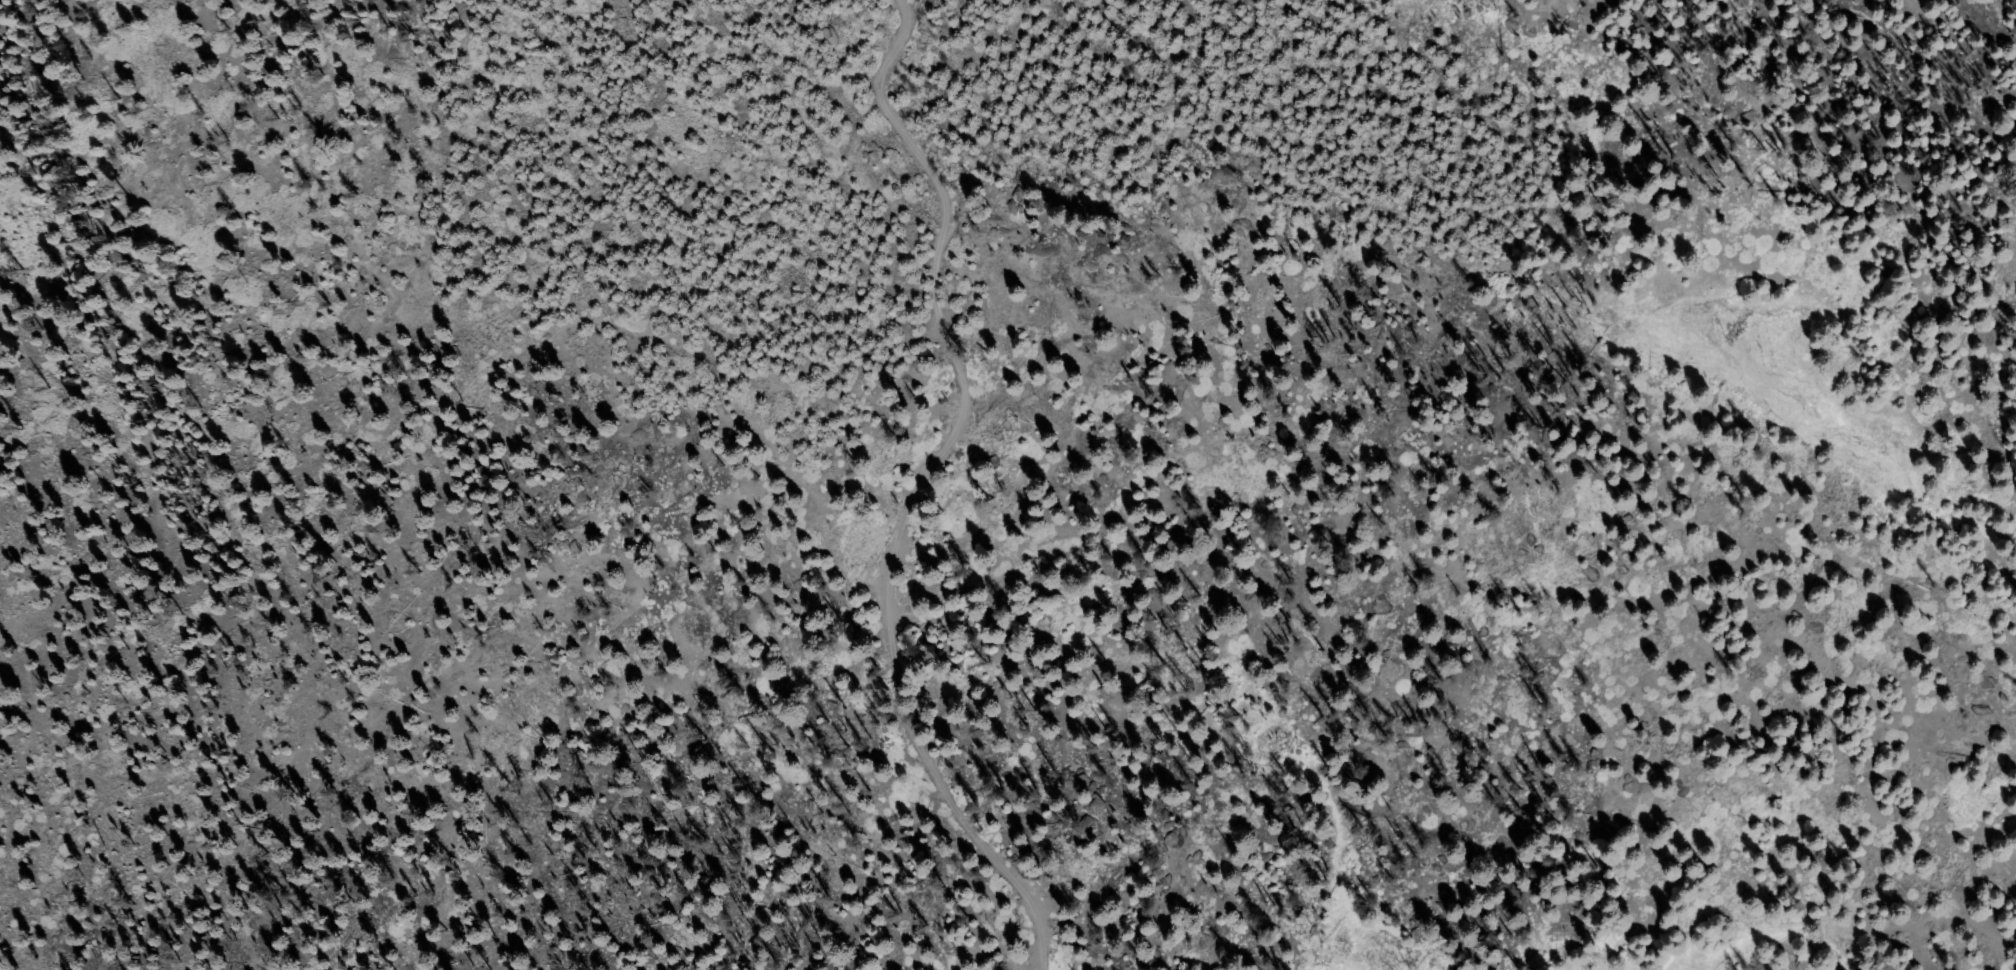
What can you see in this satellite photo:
road: (917, 487)
building: (1590, 579)

